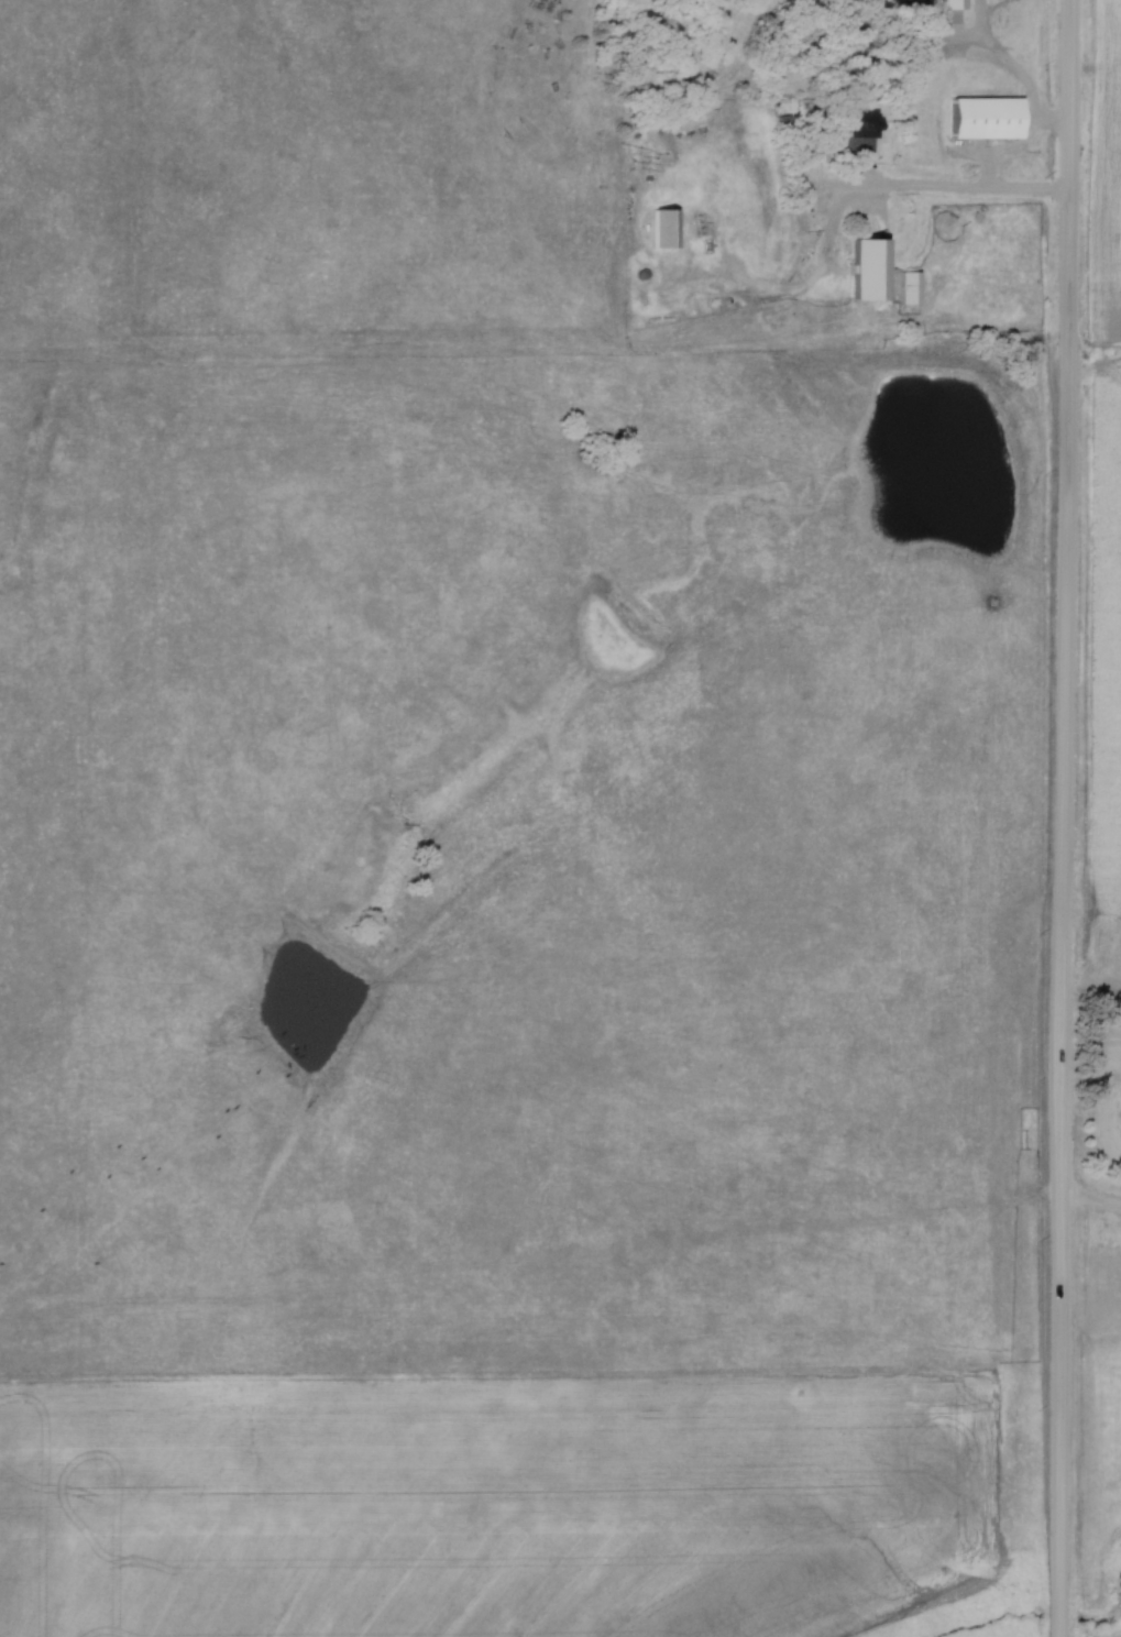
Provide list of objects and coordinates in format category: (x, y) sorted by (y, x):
building: (948, 4)
building: (988, 128)
building: (857, 130)
road: (952, 194)
building: (662, 227)
building: (862, 267)
building: (909, 286)
road: (1068, 818)
building: (1119, 1124)
road: (1091, 1201)

